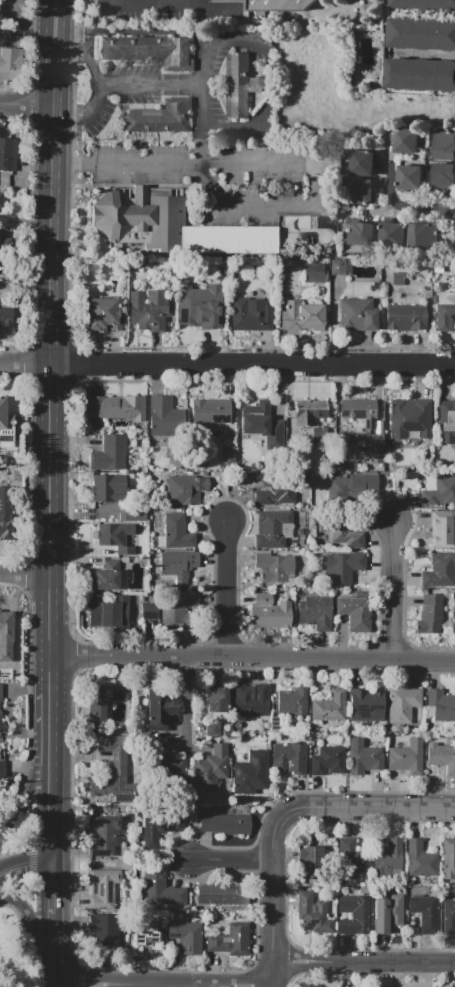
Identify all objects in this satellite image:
road: (116, 3)
road: (159, 3)
building: (279, 5)
building: (423, 5)
road: (137, 6)
parking lot: (129, 8)
road: (131, 32)
building: (4, 34)
building: (420, 34)
road: (231, 44)
building: (150, 50)
road: (46, 53)
road: (60, 53)
road: (427, 54)
building: (11, 58)
building: (419, 75)
road: (98, 85)
road: (149, 85)
building: (239, 86)
road: (199, 101)
road: (26, 105)
building: (161, 117)
road: (239, 128)
building: (403, 141)
building: (443, 145)
building: (8, 153)
building: (360, 163)
road: (62, 166)
road: (140, 167)
road: (262, 167)
building: (443, 175)
building: (408, 177)
building: (359, 192)
building: (1, 200)
road: (400, 205)
road: (263, 213)
building: (138, 218)
building: (326, 222)
road: (27, 223)
building: (358, 233)
building: (391, 234)
building: (419, 235)
building: (228, 239)
building: (5, 245)
building: (339, 266)
building: (313, 272)
building: (200, 306)
building: (146, 309)
building: (445, 311)
building: (357, 314)
building: (249, 315)
building: (100, 316)
building: (300, 316)
building: (5, 317)
building: (405, 317)
road: (227, 365)
road: (49, 381)
building: (115, 408)
building: (359, 411)
building: (209, 412)
building: (5, 416)
building: (159, 416)
building: (306, 416)
building: (446, 416)
building: (408, 418)
building: (254, 419)
building: (316, 434)
building: (370, 449)
building: (226, 453)
building: (108, 455)
building: (345, 484)
building: (107, 488)
building: (186, 491)
building: (275, 492)
building: (440, 493)
building: (6, 512)
building: (132, 515)
building: (269, 529)
building: (339, 531)
building: (175, 533)
building: (441, 533)
building: (113, 538)
building: (177, 562)
building: (272, 567)
building: (342, 567)
building: (439, 572)
road: (24, 574)
building: (106, 576)
road: (229, 589)
road: (395, 591)
building: (165, 612)
building: (268, 613)
building: (314, 613)
building: (356, 614)
building: (430, 614)
building: (107, 617)
building: (3, 640)
road: (251, 657)
road: (48, 691)
building: (101, 699)
building: (214, 699)
building: (249, 701)
building: (292, 702)
road: (185, 703)
building: (401, 705)
building: (366, 706)
building: (328, 707)
building: (439, 707)
building: (1, 709)
building: (157, 712)
building: (257, 750)
building: (364, 757)
building: (441, 757)
building: (290, 758)
building: (407, 759)
building: (329, 760)
building: (166, 764)
building: (2, 769)
building: (209, 770)
building: (114, 773)
building: (244, 784)
road: (31, 787)
road: (51, 792)
road: (386, 807)
building: (223, 825)
building: (158, 829)
building: (101, 834)
road: (2, 838)
road: (257, 858)
building: (350, 858)
building: (387, 859)
building: (448, 859)
building: (310, 860)
building: (420, 861)
road: (26, 865)
road: (272, 875)
building: (102, 889)
building: (161, 892)
building: (220, 896)
road: (54, 906)
building: (309, 908)
building: (424, 914)
building: (353, 916)
building: (387, 916)
building: (448, 918)
road: (31, 919)
building: (103, 929)
building: (186, 937)
building: (143, 940)
building: (229, 941)
park: (13, 951)
road: (290, 963)
road: (393, 963)
road: (2, 966)
road: (16, 966)
road: (88, 969)
road: (54, 970)
road: (367, 973)
road: (272, 981)
road: (64, 986)

